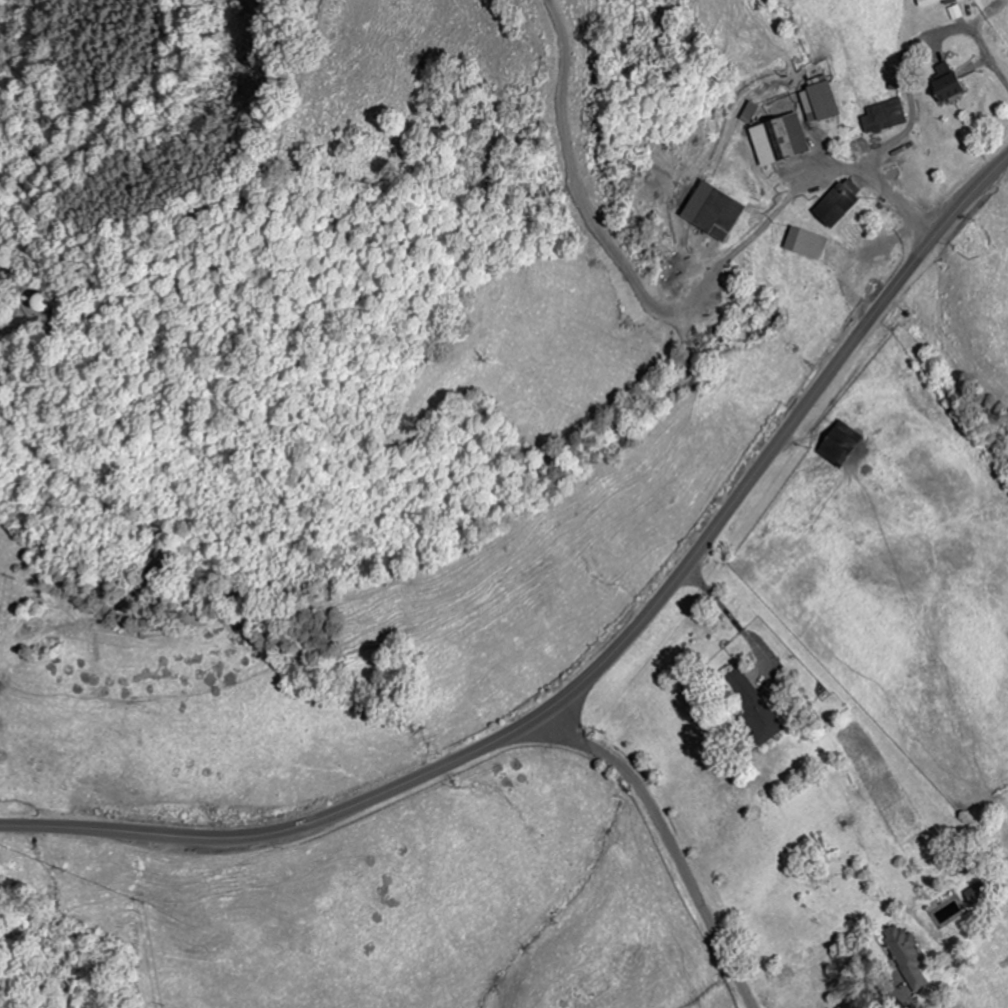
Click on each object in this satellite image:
building: (930, 2)
building: (944, 85)
building: (818, 102)
building: (748, 114)
building: (883, 118)
building: (837, 204)
building: (712, 213)
building: (806, 245)
building: (840, 444)
road: (600, 661)
building: (753, 710)
road: (667, 844)
building: (975, 894)
building: (906, 959)

